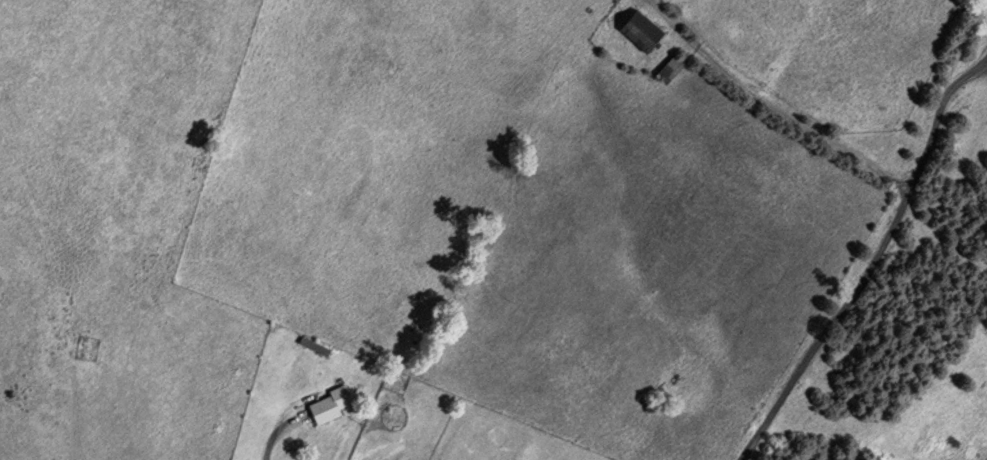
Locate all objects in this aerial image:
building: (644, 33)
road: (983, 68)
building: (674, 69)
road: (772, 106)
road: (872, 260)
building: (332, 405)
road: (272, 439)

